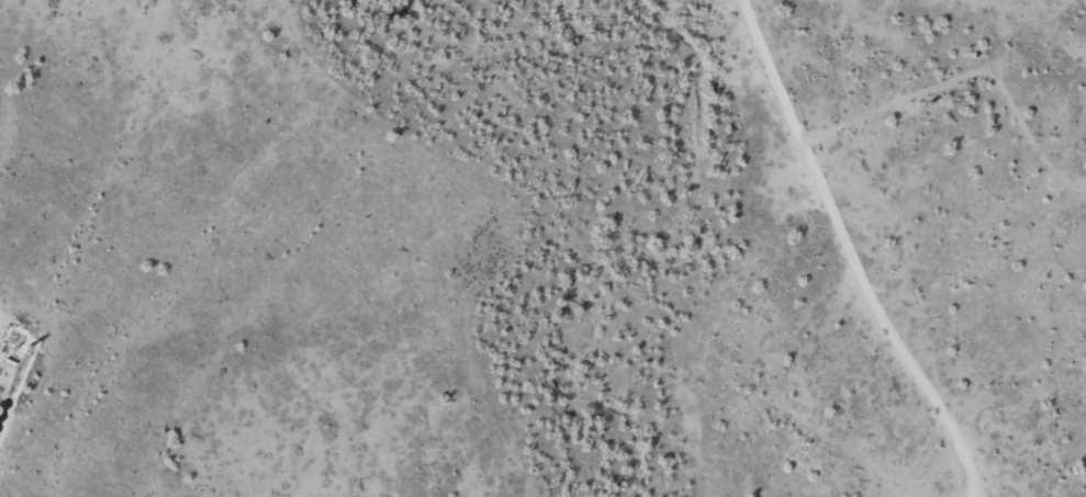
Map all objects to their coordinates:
road: (889, 252)

